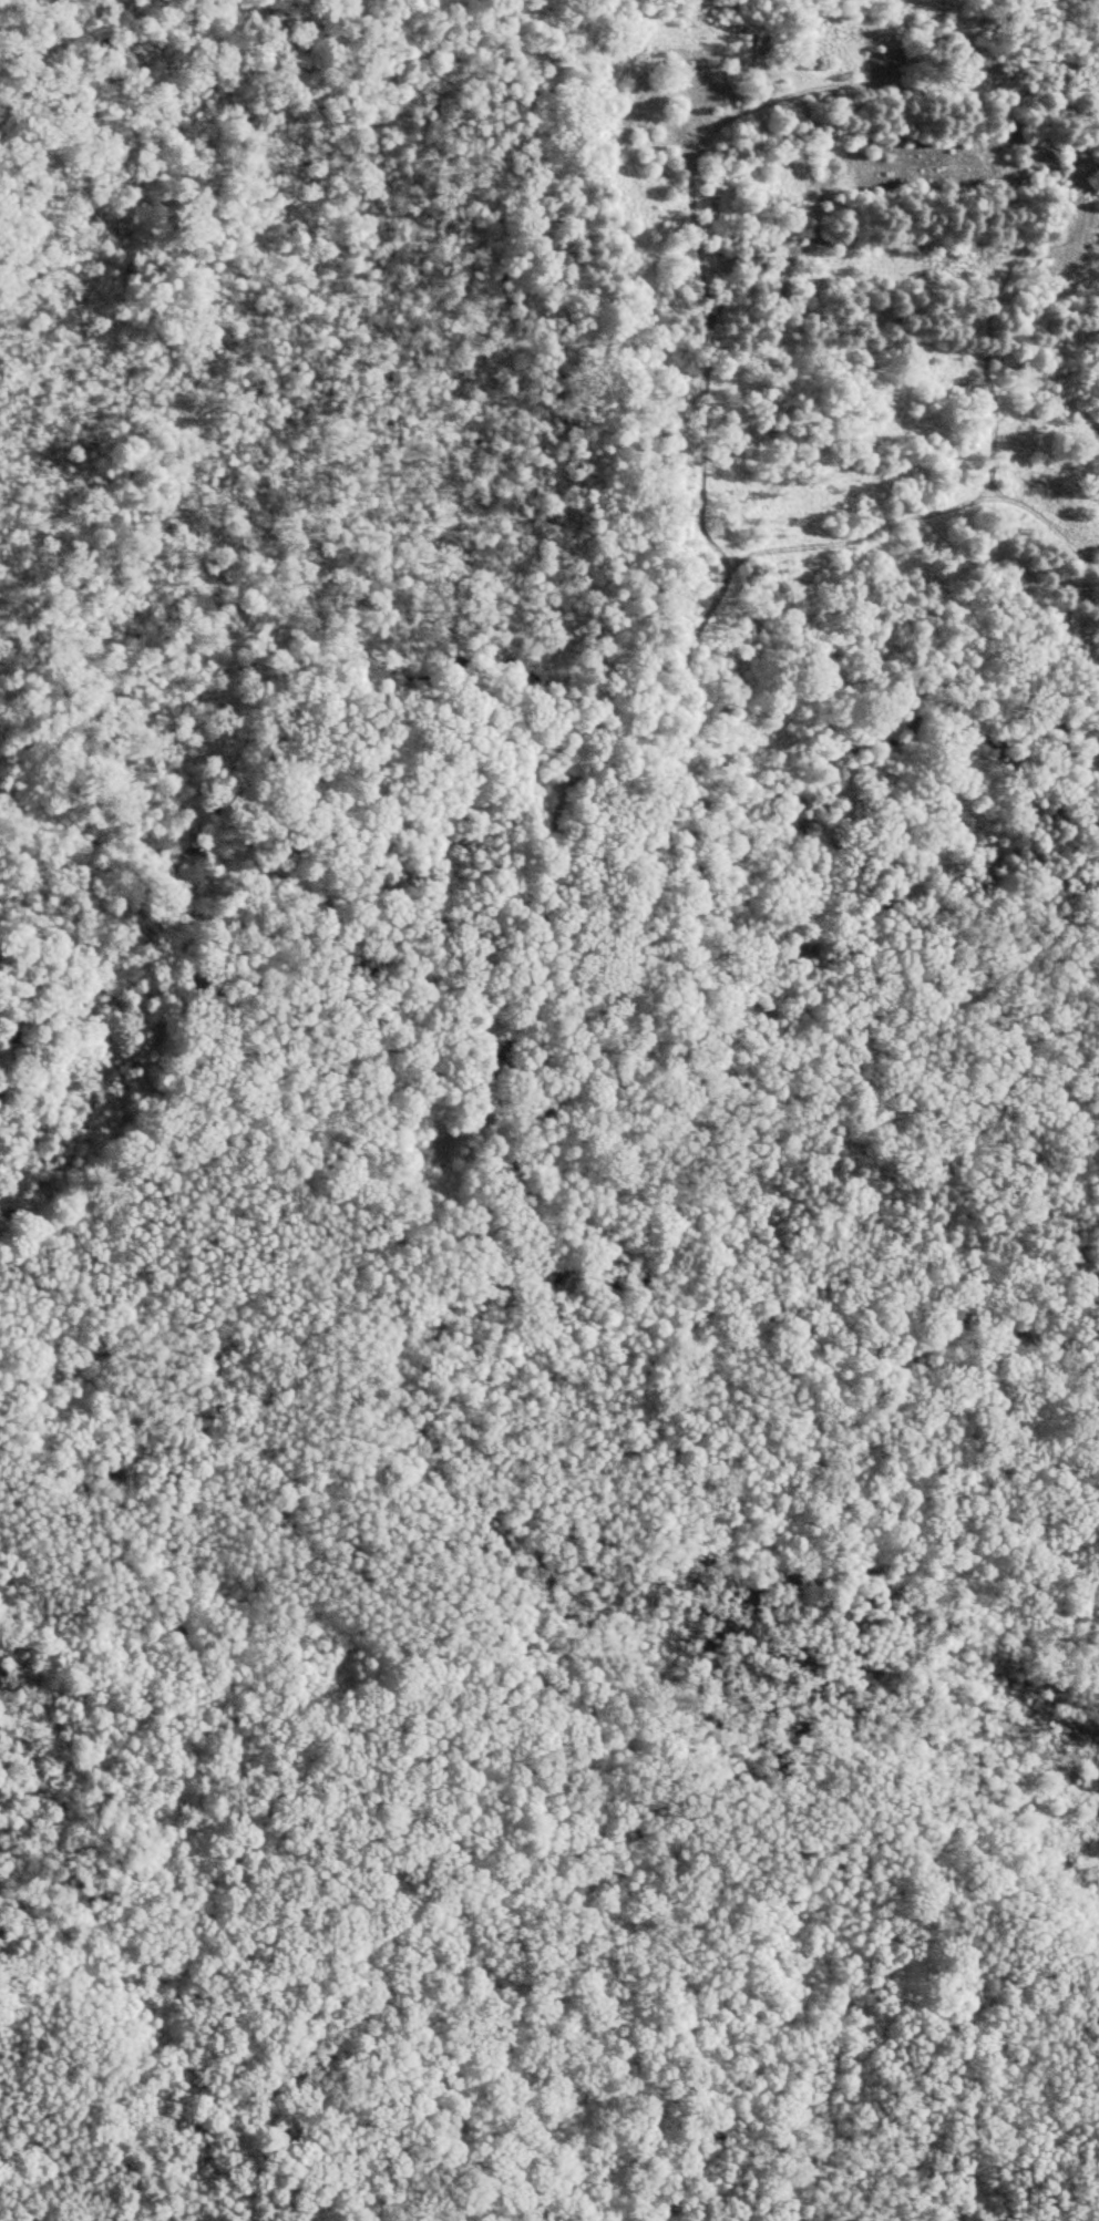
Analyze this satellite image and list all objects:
road: (73, 71)
road: (514, 719)
road: (490, 955)
road: (126, 1793)

